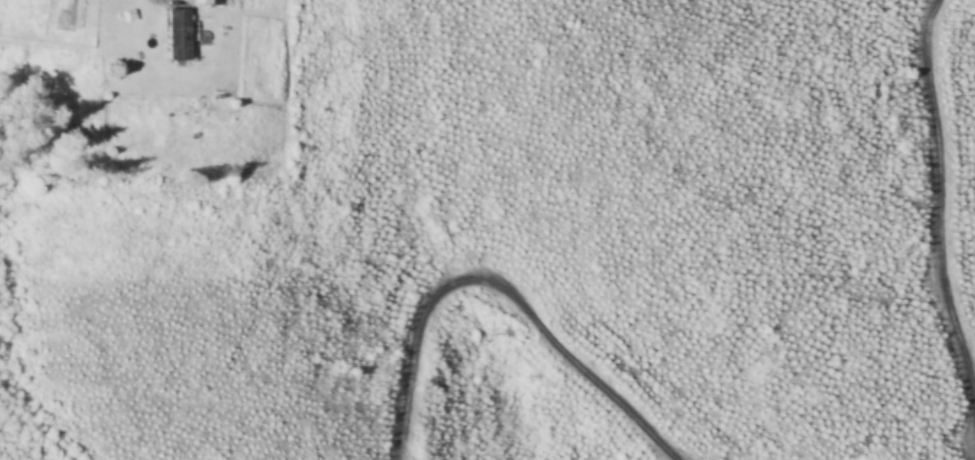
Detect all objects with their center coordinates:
building: (206, 2)
building: (179, 35)

